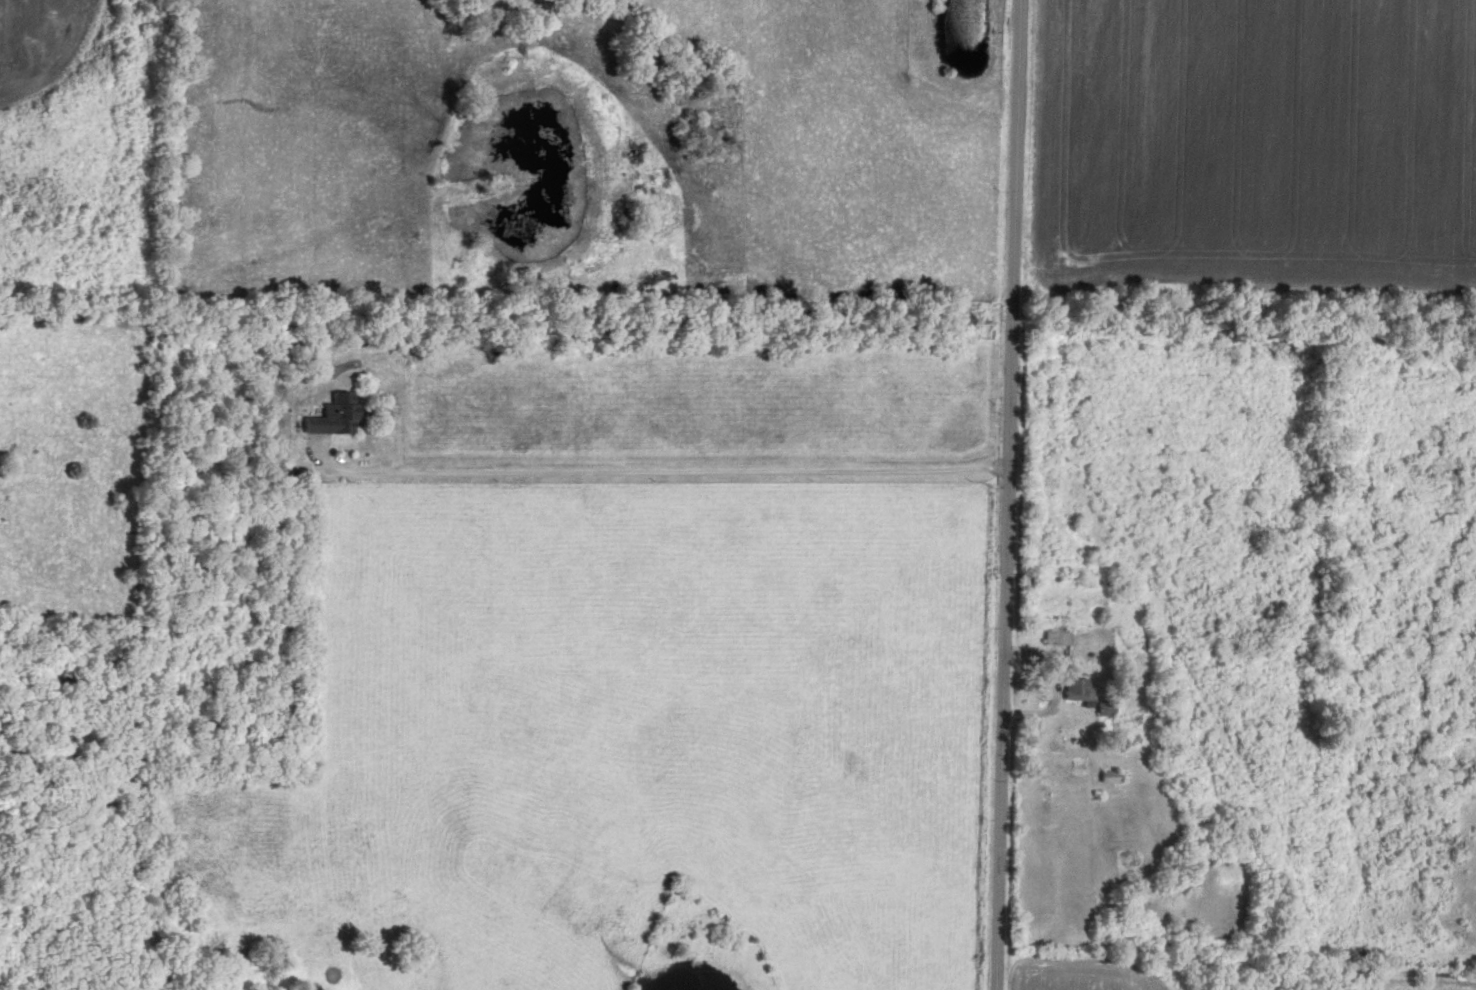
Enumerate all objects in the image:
building: (338, 412)
road: (659, 471)
road: (1003, 494)
building: (1060, 631)
building: (1082, 686)
building: (1107, 705)

